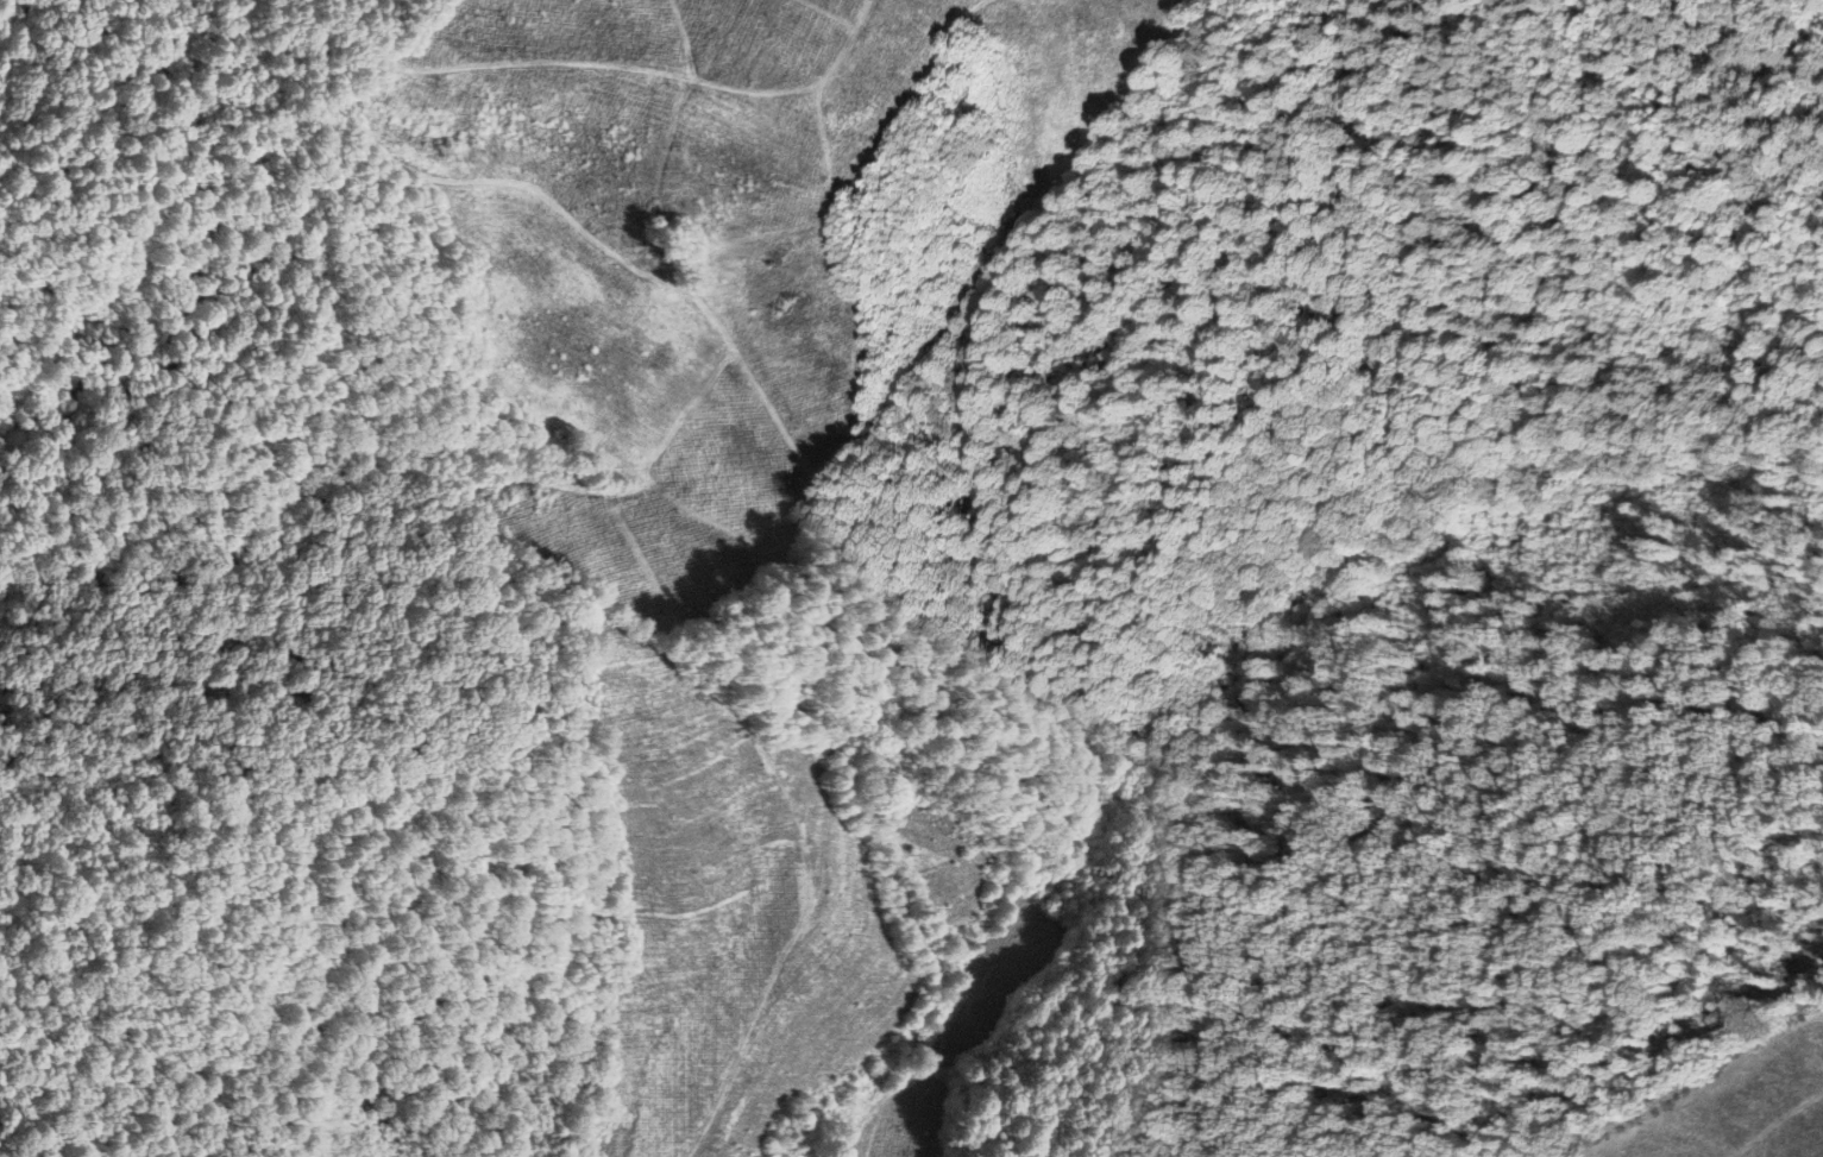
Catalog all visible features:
road: (434, 182)

